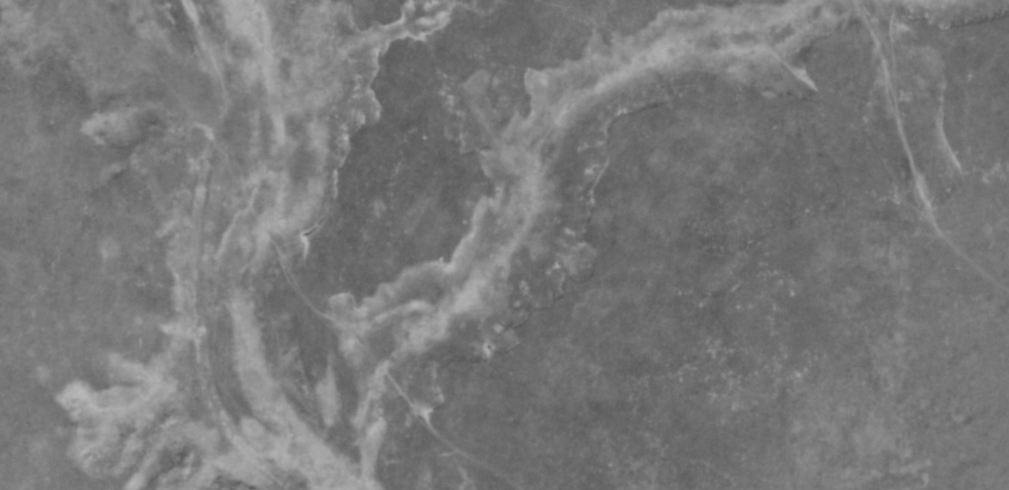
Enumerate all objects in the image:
road: (171, 255)

